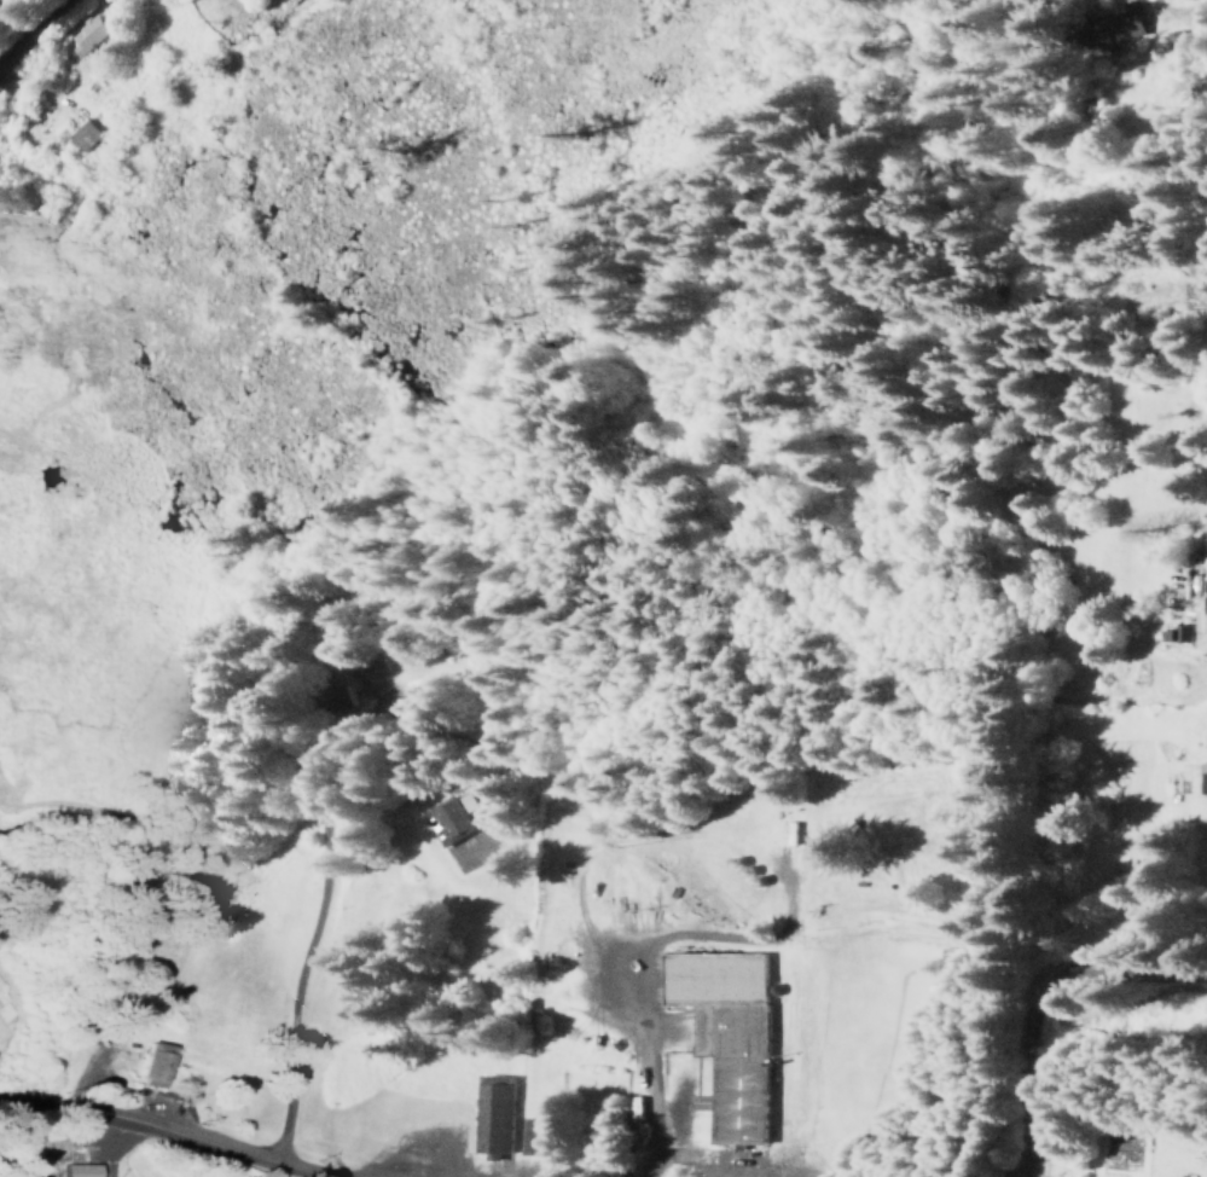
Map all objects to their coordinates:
road: (1188, 11)
road: (11, 12)
road: (29, 18)
building: (1118, 24)
building: (83, 35)
building: (83, 137)
building: (1202, 779)
building: (449, 819)
road: (326, 836)
road: (1043, 997)
building: (726, 1034)
building: (153, 1067)
building: (494, 1115)
road: (158, 1130)
building: (539, 1138)
building: (77, 1171)

